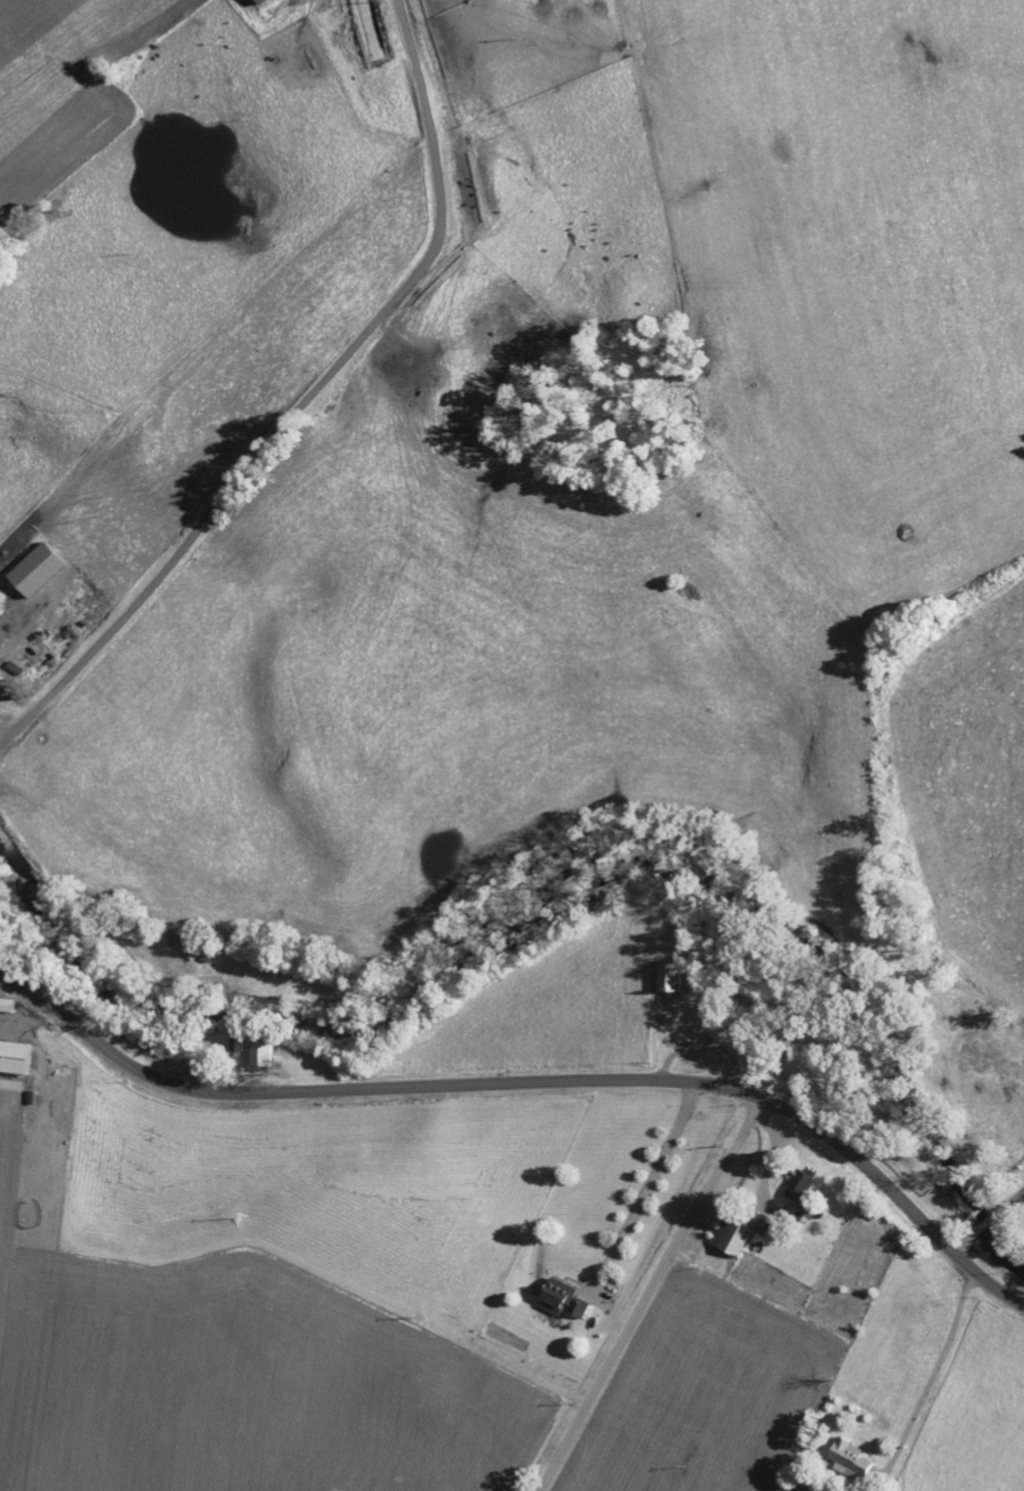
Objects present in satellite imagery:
building: (262, 1)
road: (302, 402)
building: (37, 568)
building: (0, 647)
building: (0, 676)
silo: (0, 676)
building: (8, 684)
silo: (8, 684)
building: (14, 691)
silo: (14, 691)
building: (20, 698)
silo: (20, 698)
building: (674, 976)
building: (12, 1004)
building: (237, 1043)
building: (16, 1055)
building: (262, 1055)
road: (532, 1082)
building: (34, 1096)
road: (648, 1183)
building: (805, 1183)
road: (1009, 1200)
building: (766, 1222)
road: (984, 1225)
building: (734, 1234)
road: (962, 1242)
road: (647, 1292)
building: (565, 1297)
road: (934, 1372)
building: (850, 1459)

